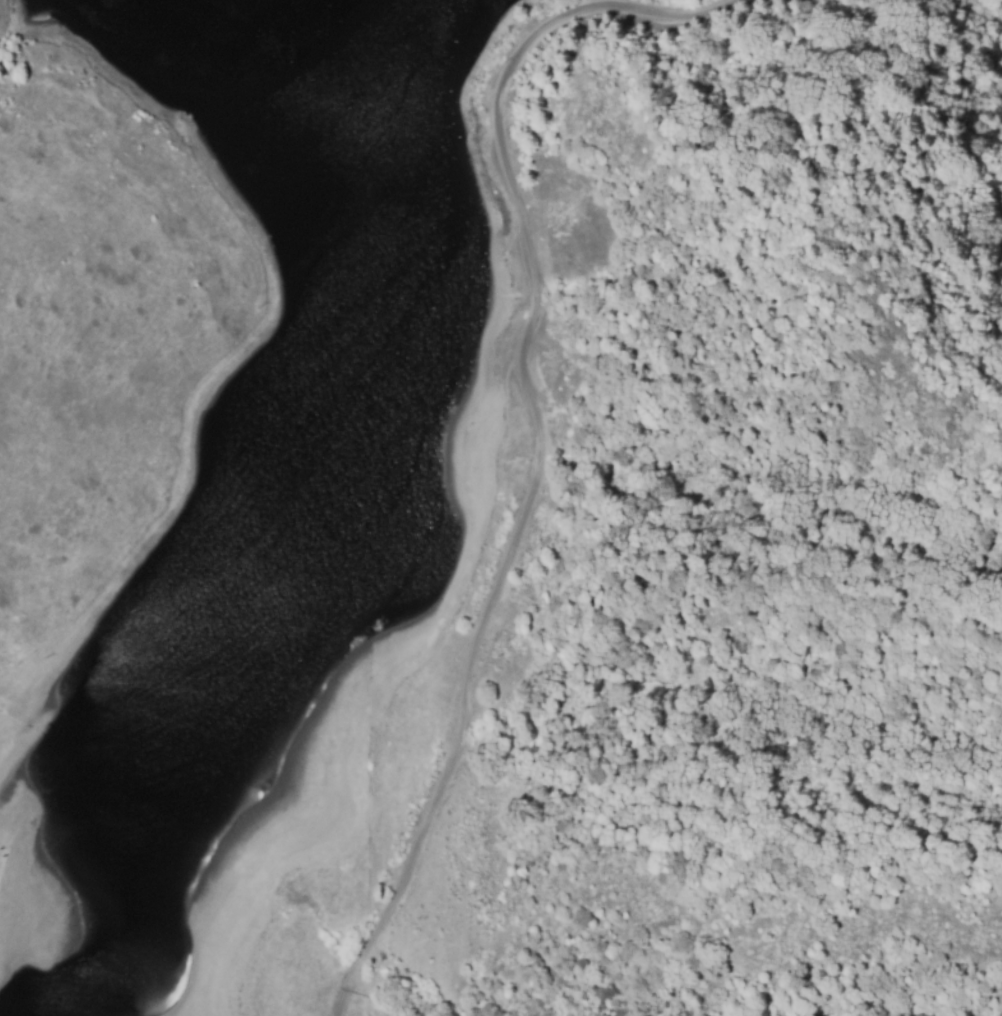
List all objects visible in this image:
road: (536, 427)

